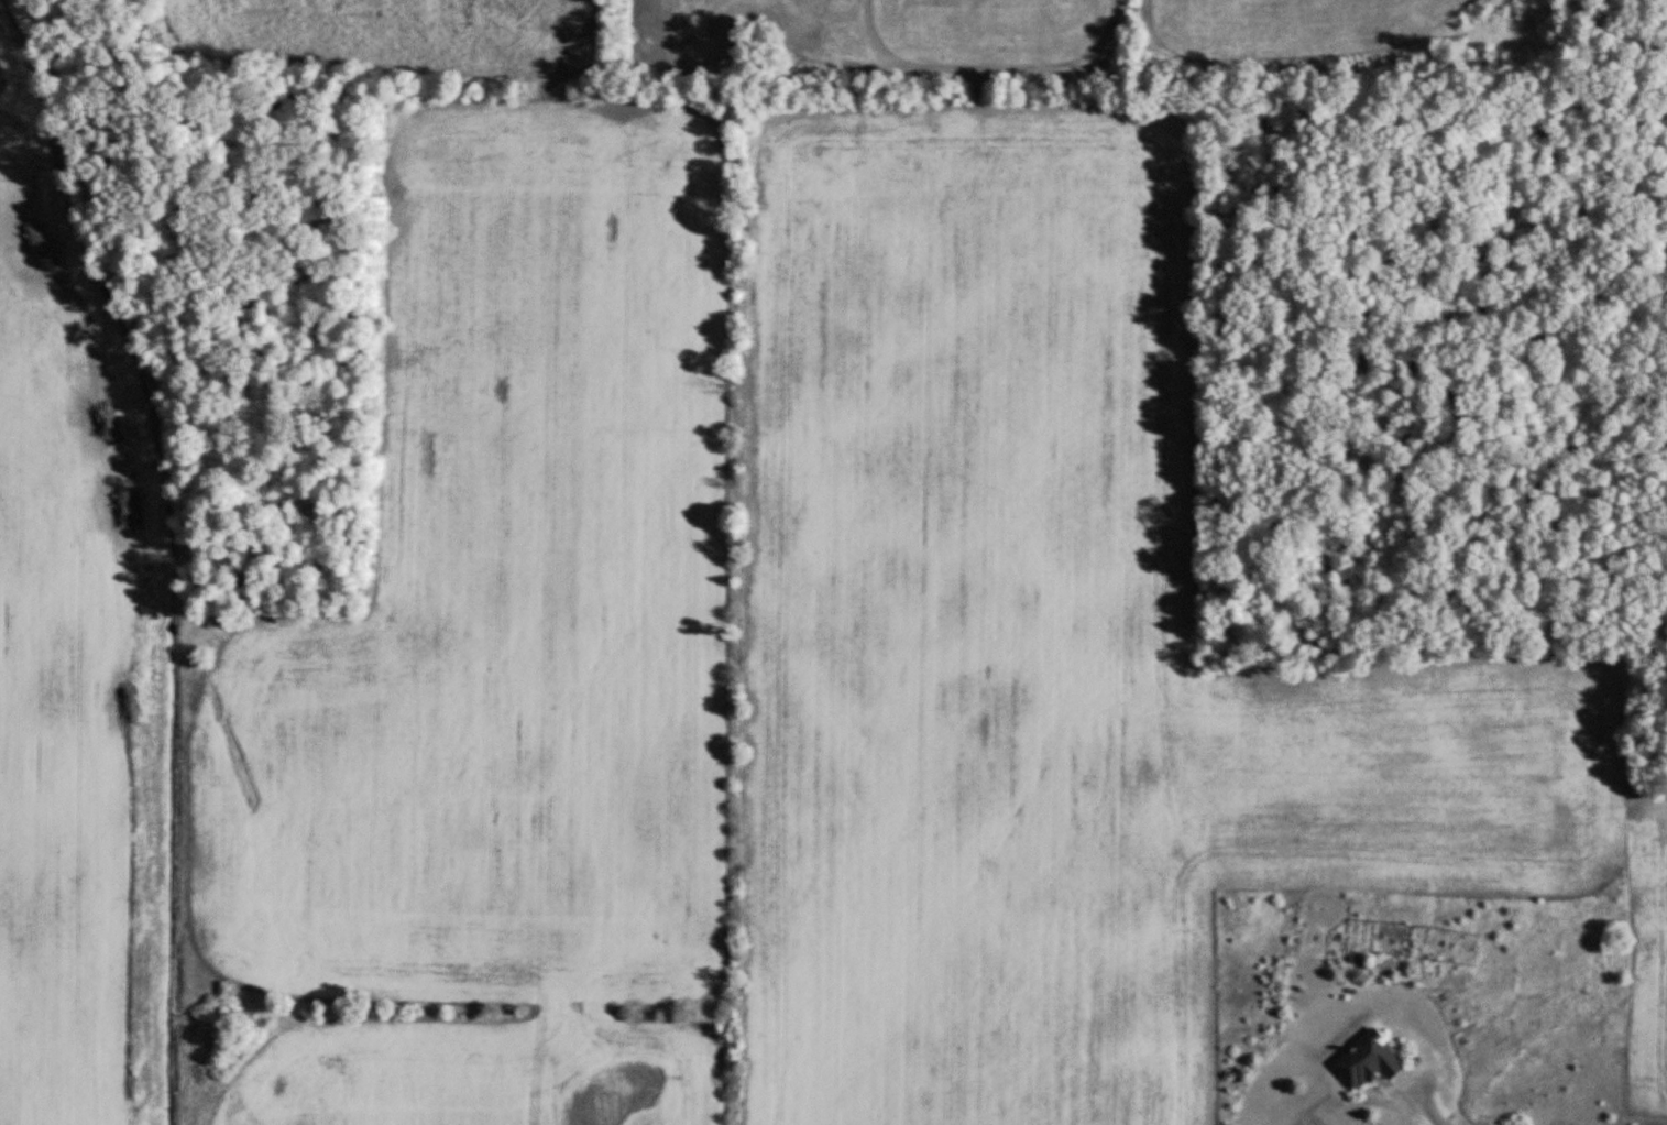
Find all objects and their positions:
building: (1368, 1062)
road: (1432, 1111)

